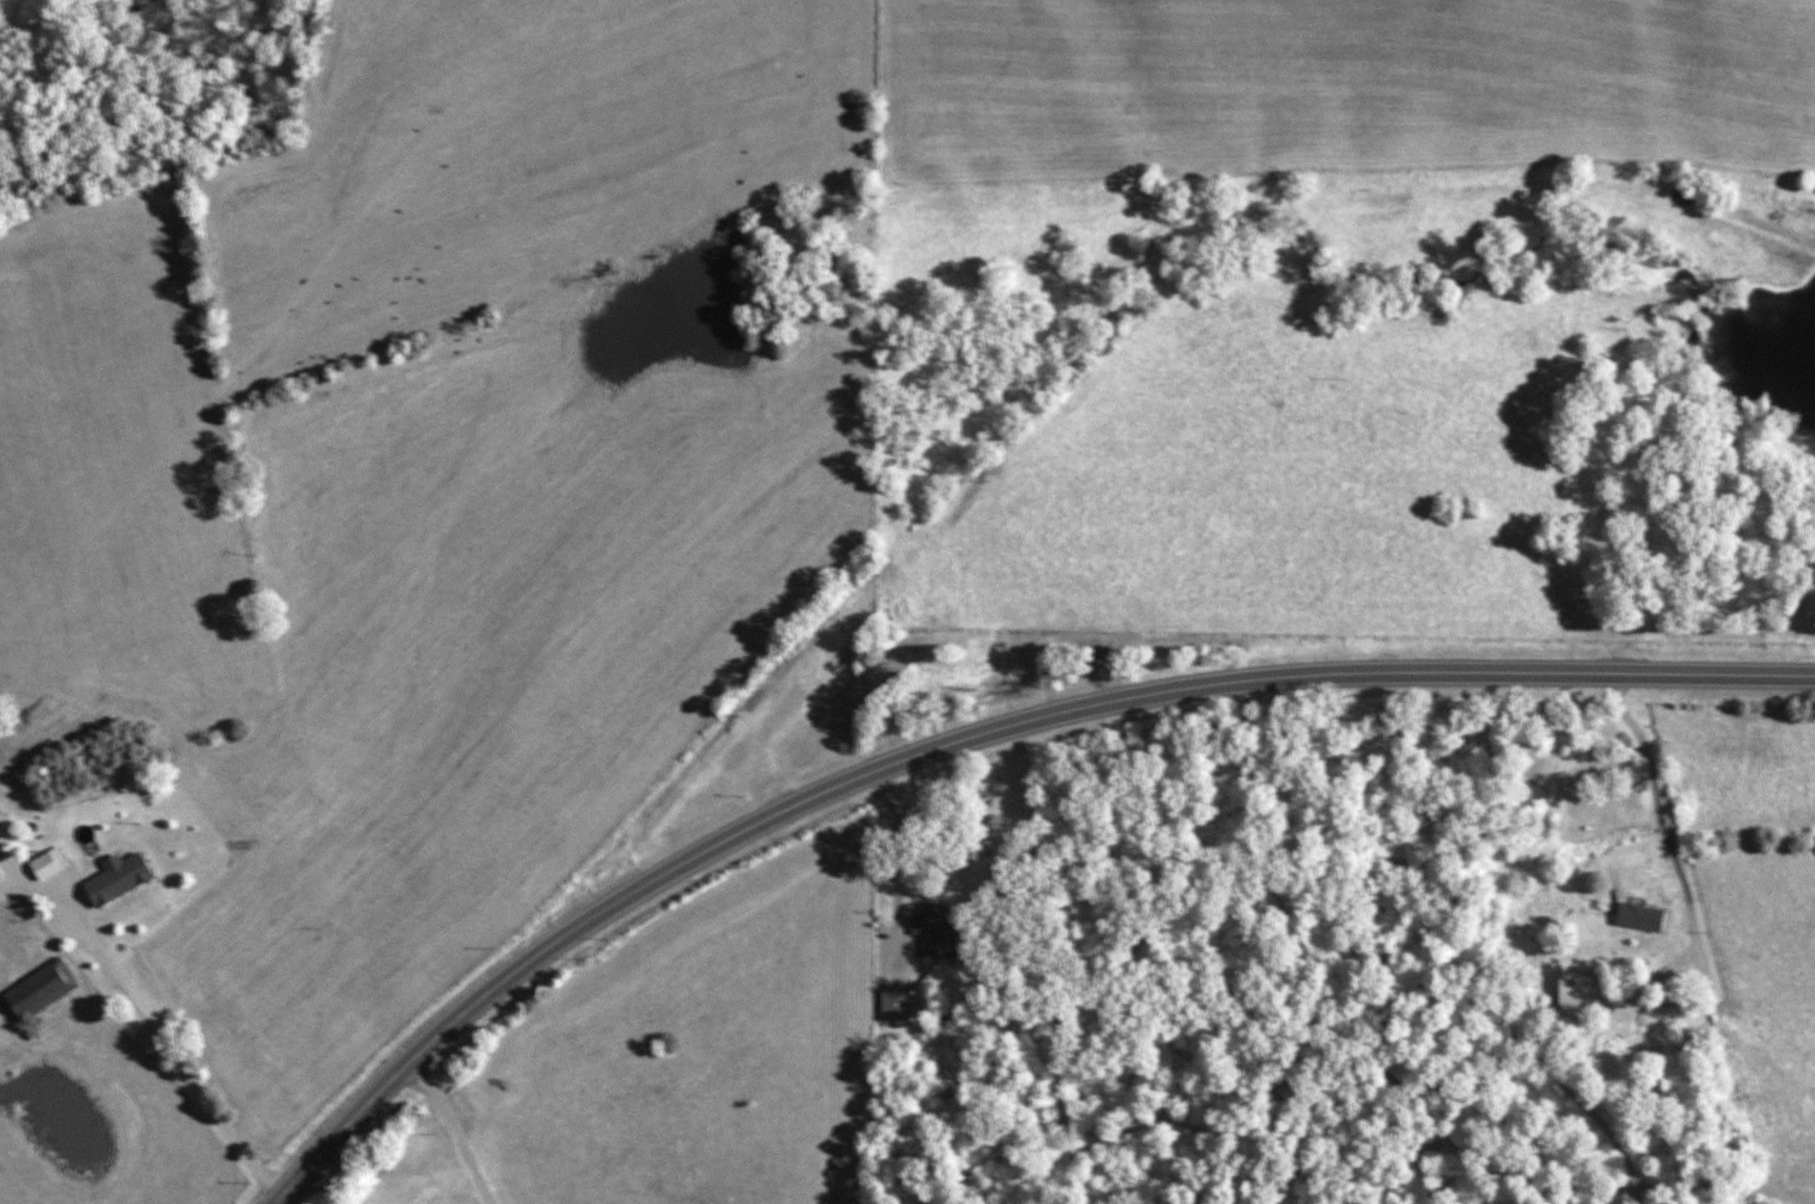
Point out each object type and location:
road: (972, 739)
building: (0, 775)
building: (40, 867)
road: (890, 874)
building: (1640, 919)
building: (930, 928)
building: (1577, 988)
building: (37, 991)
building: (891, 1004)
road: (187, 1076)

